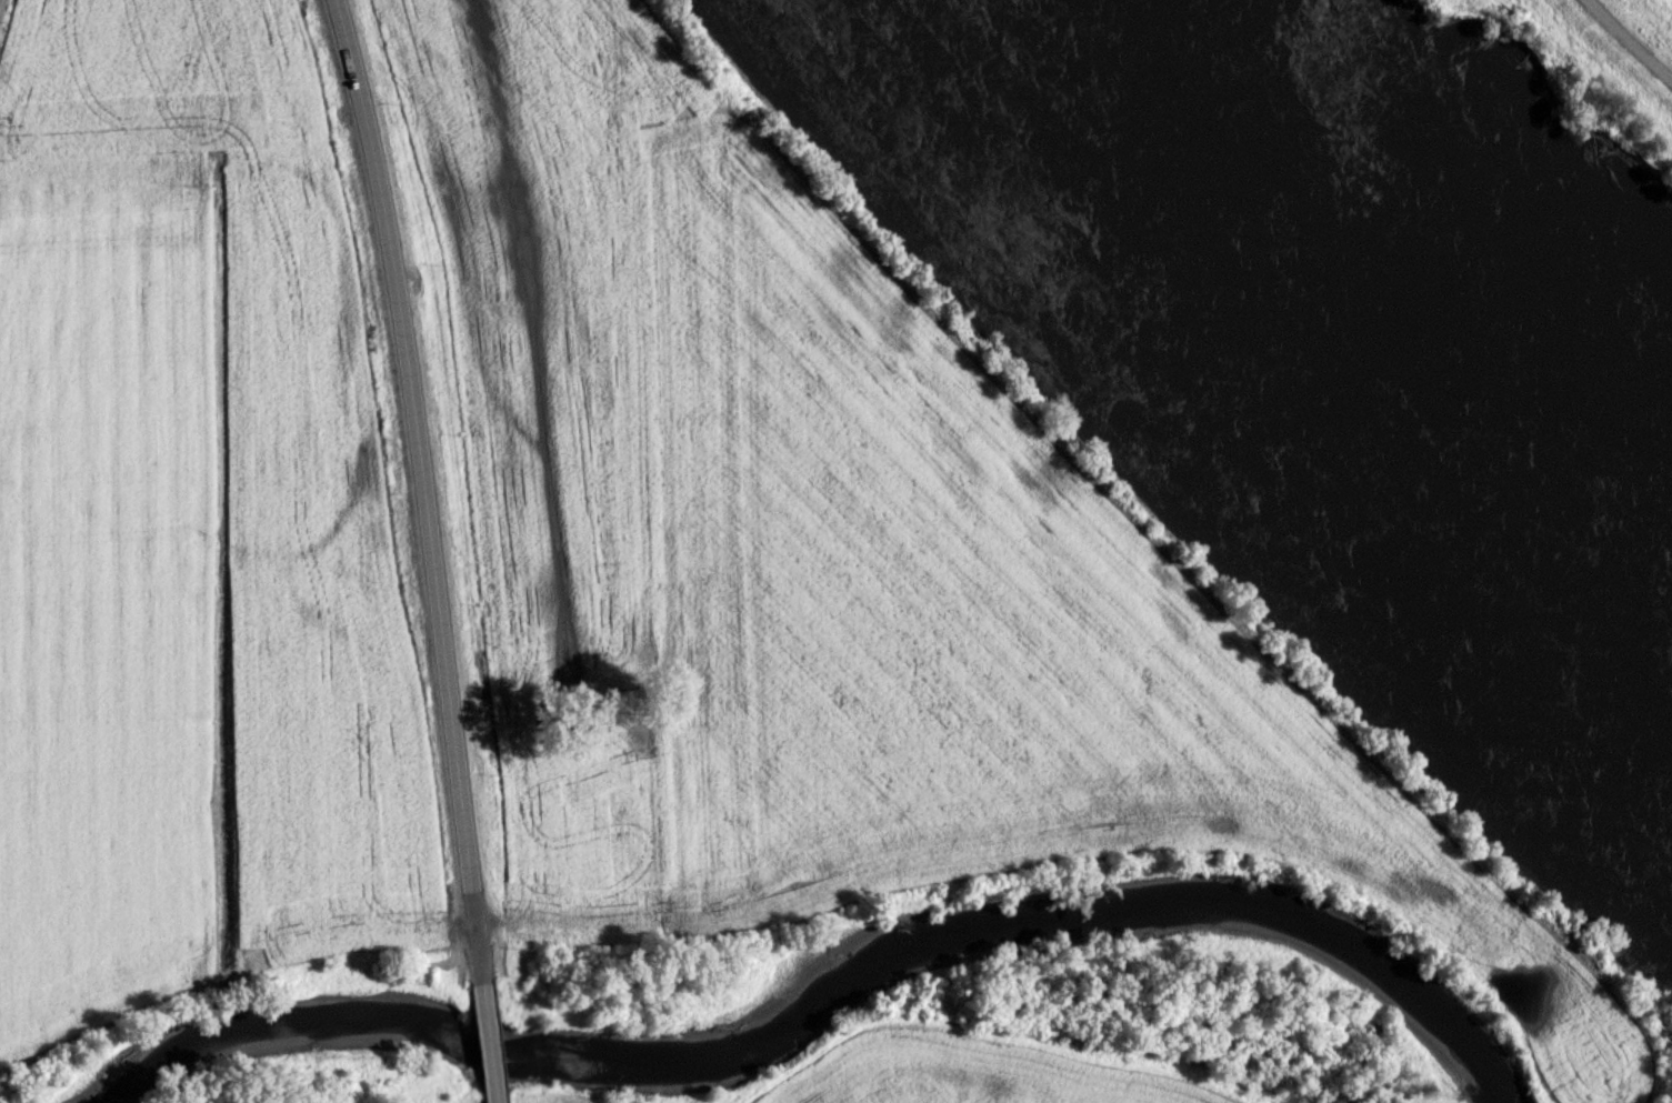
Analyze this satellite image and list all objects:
road: (0, 0)
road: (1641, 31)
river: (1374, 261)
road: (427, 491)
river: (810, 986)
road: (493, 1045)

